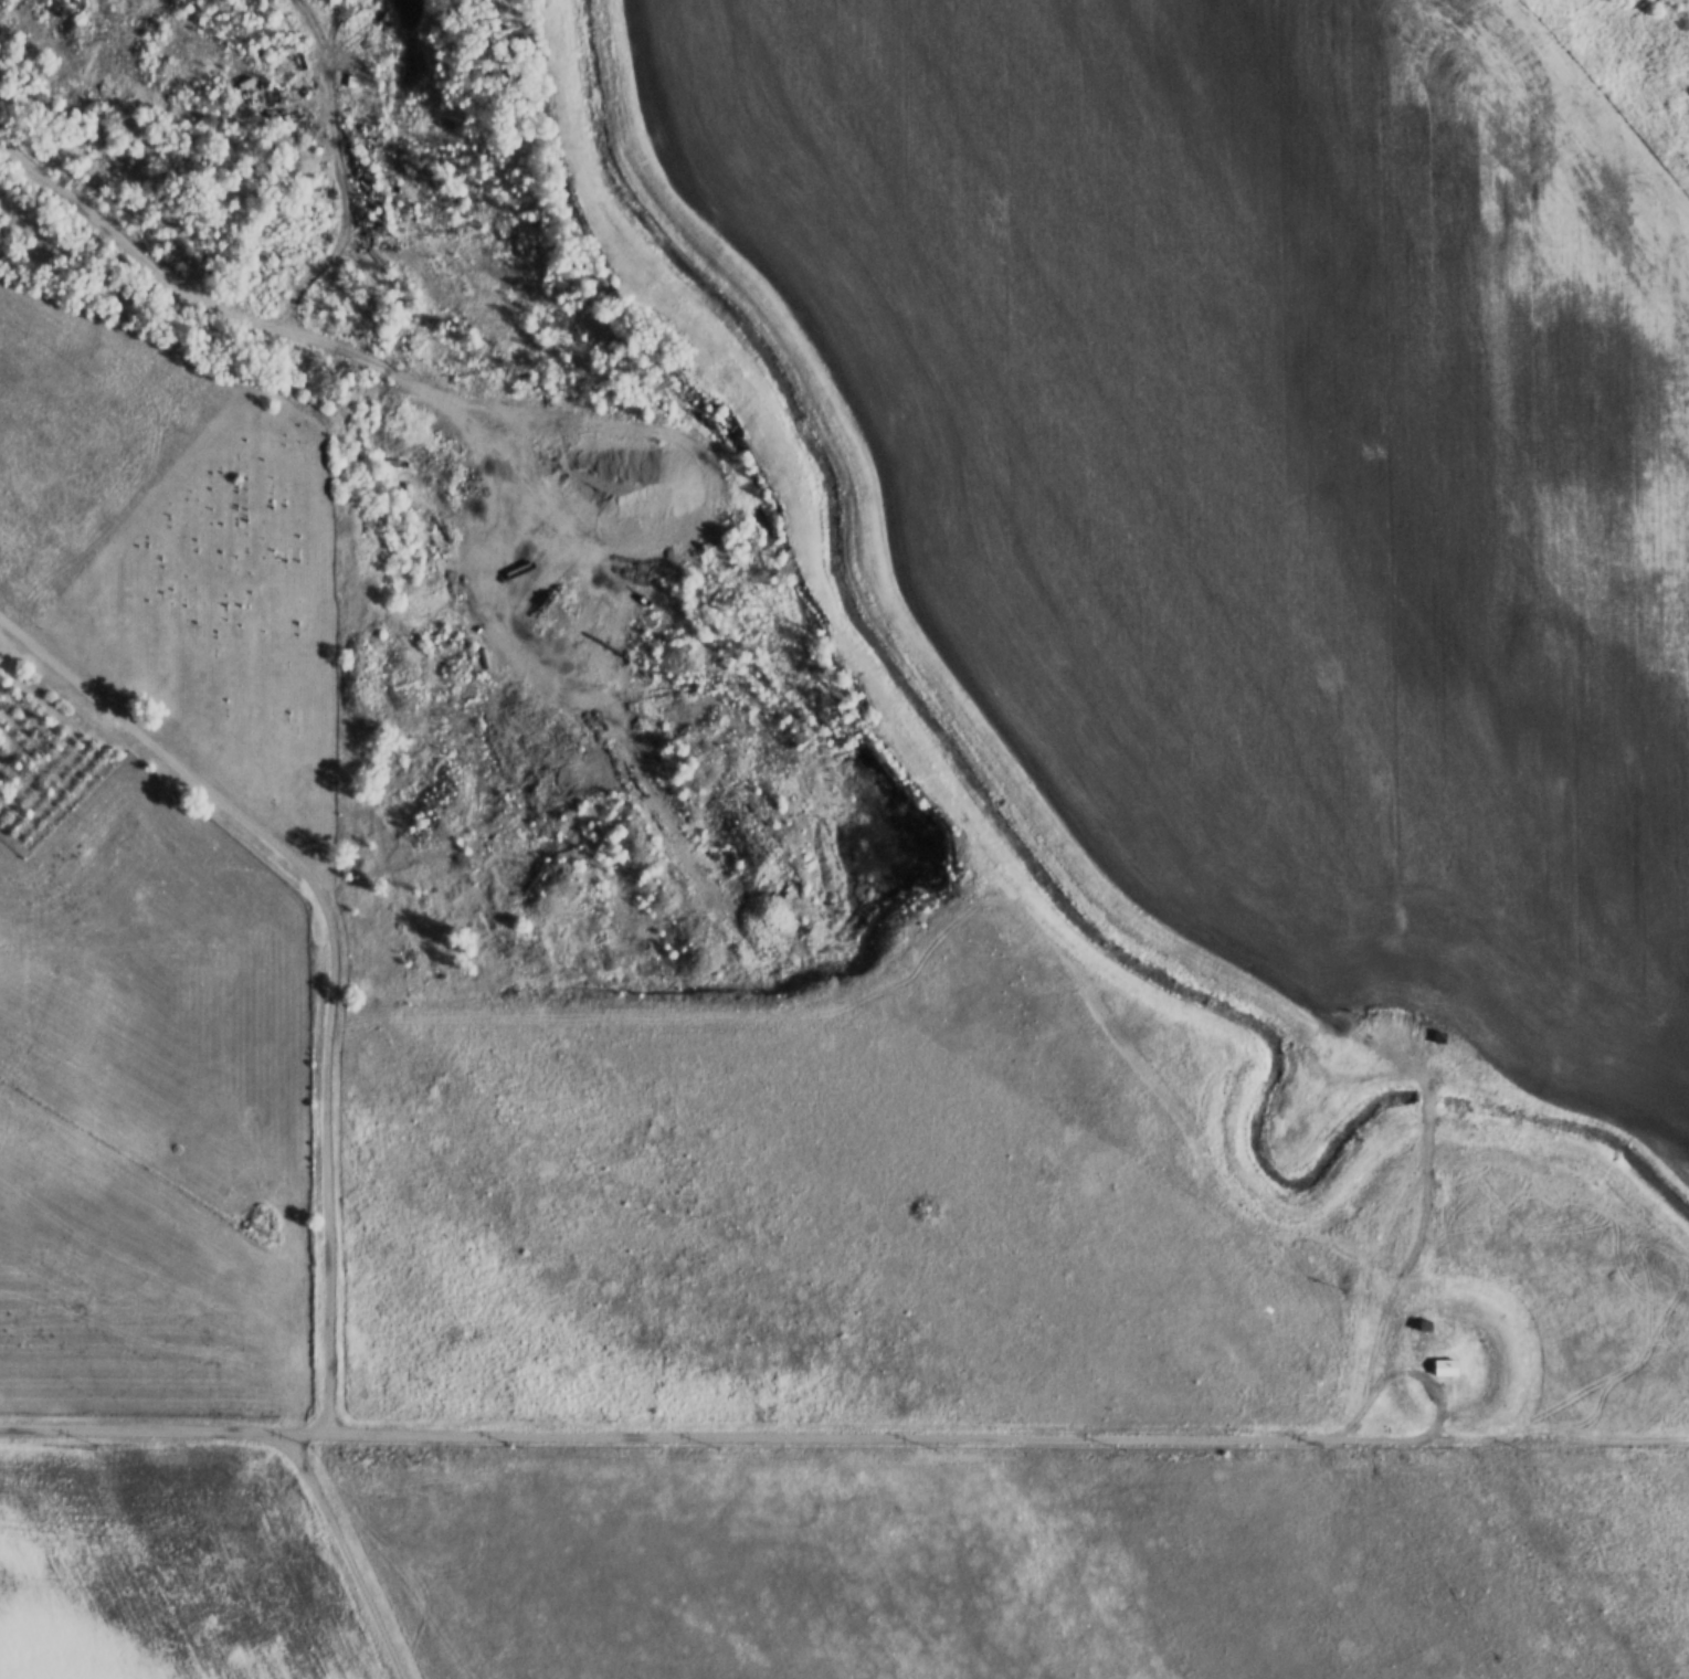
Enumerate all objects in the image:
road: (340, 171)
building: (427, 257)
road: (203, 304)
park: (222, 616)
road: (159, 749)
road: (325, 1160)
building: (1445, 1368)
road: (672, 1436)
road: (345, 1555)

